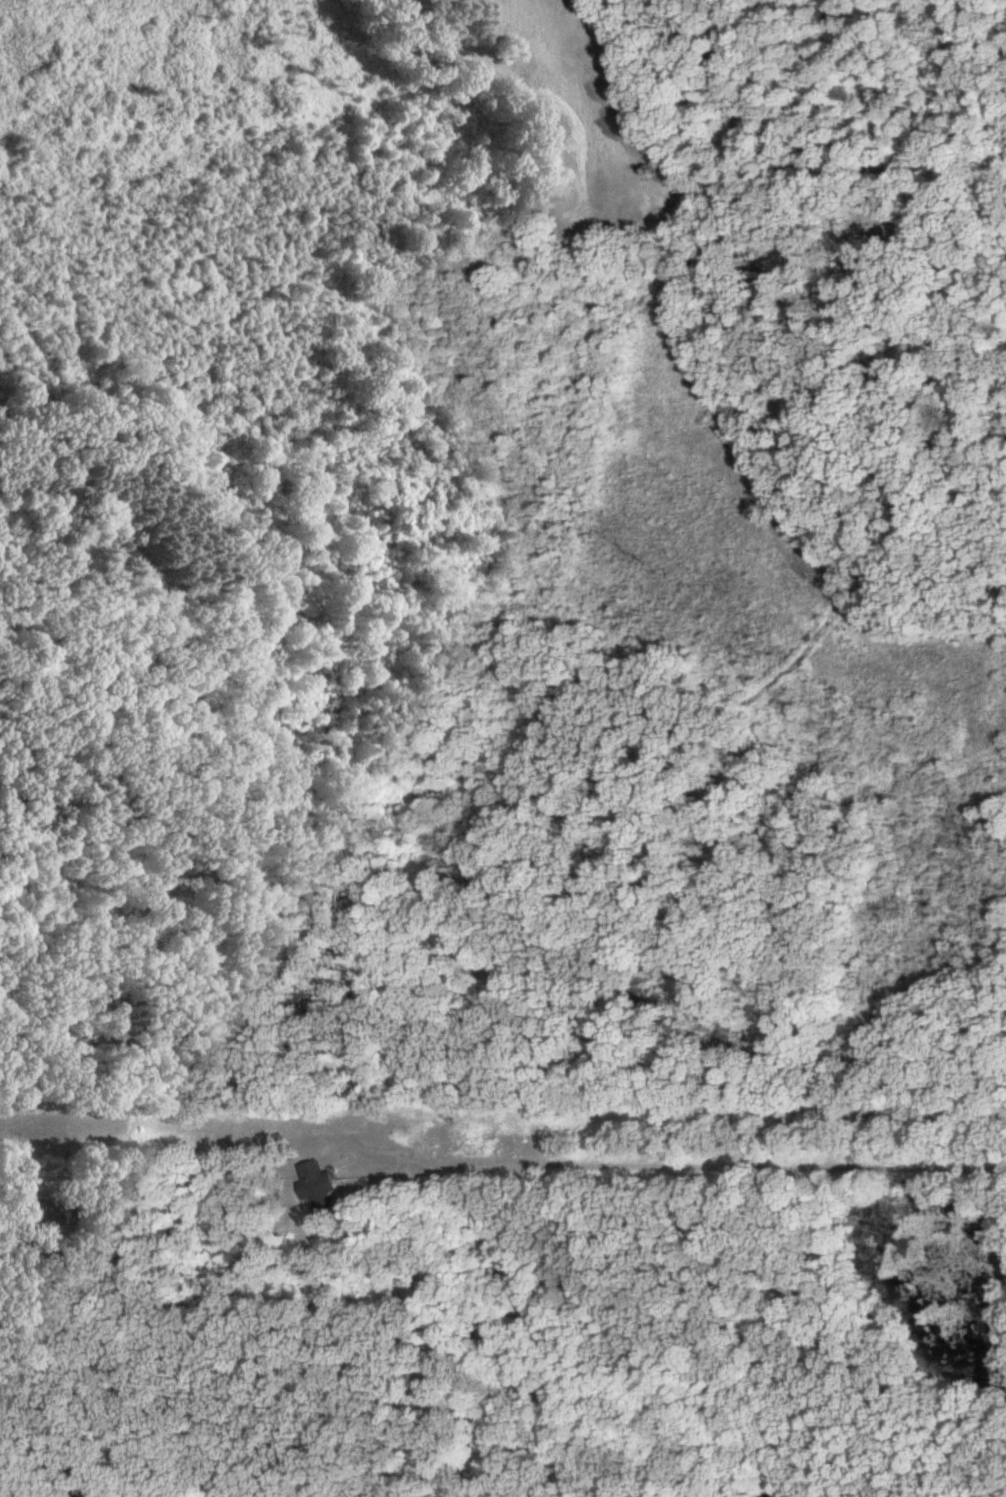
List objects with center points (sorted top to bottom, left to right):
building: (318, 1187)

